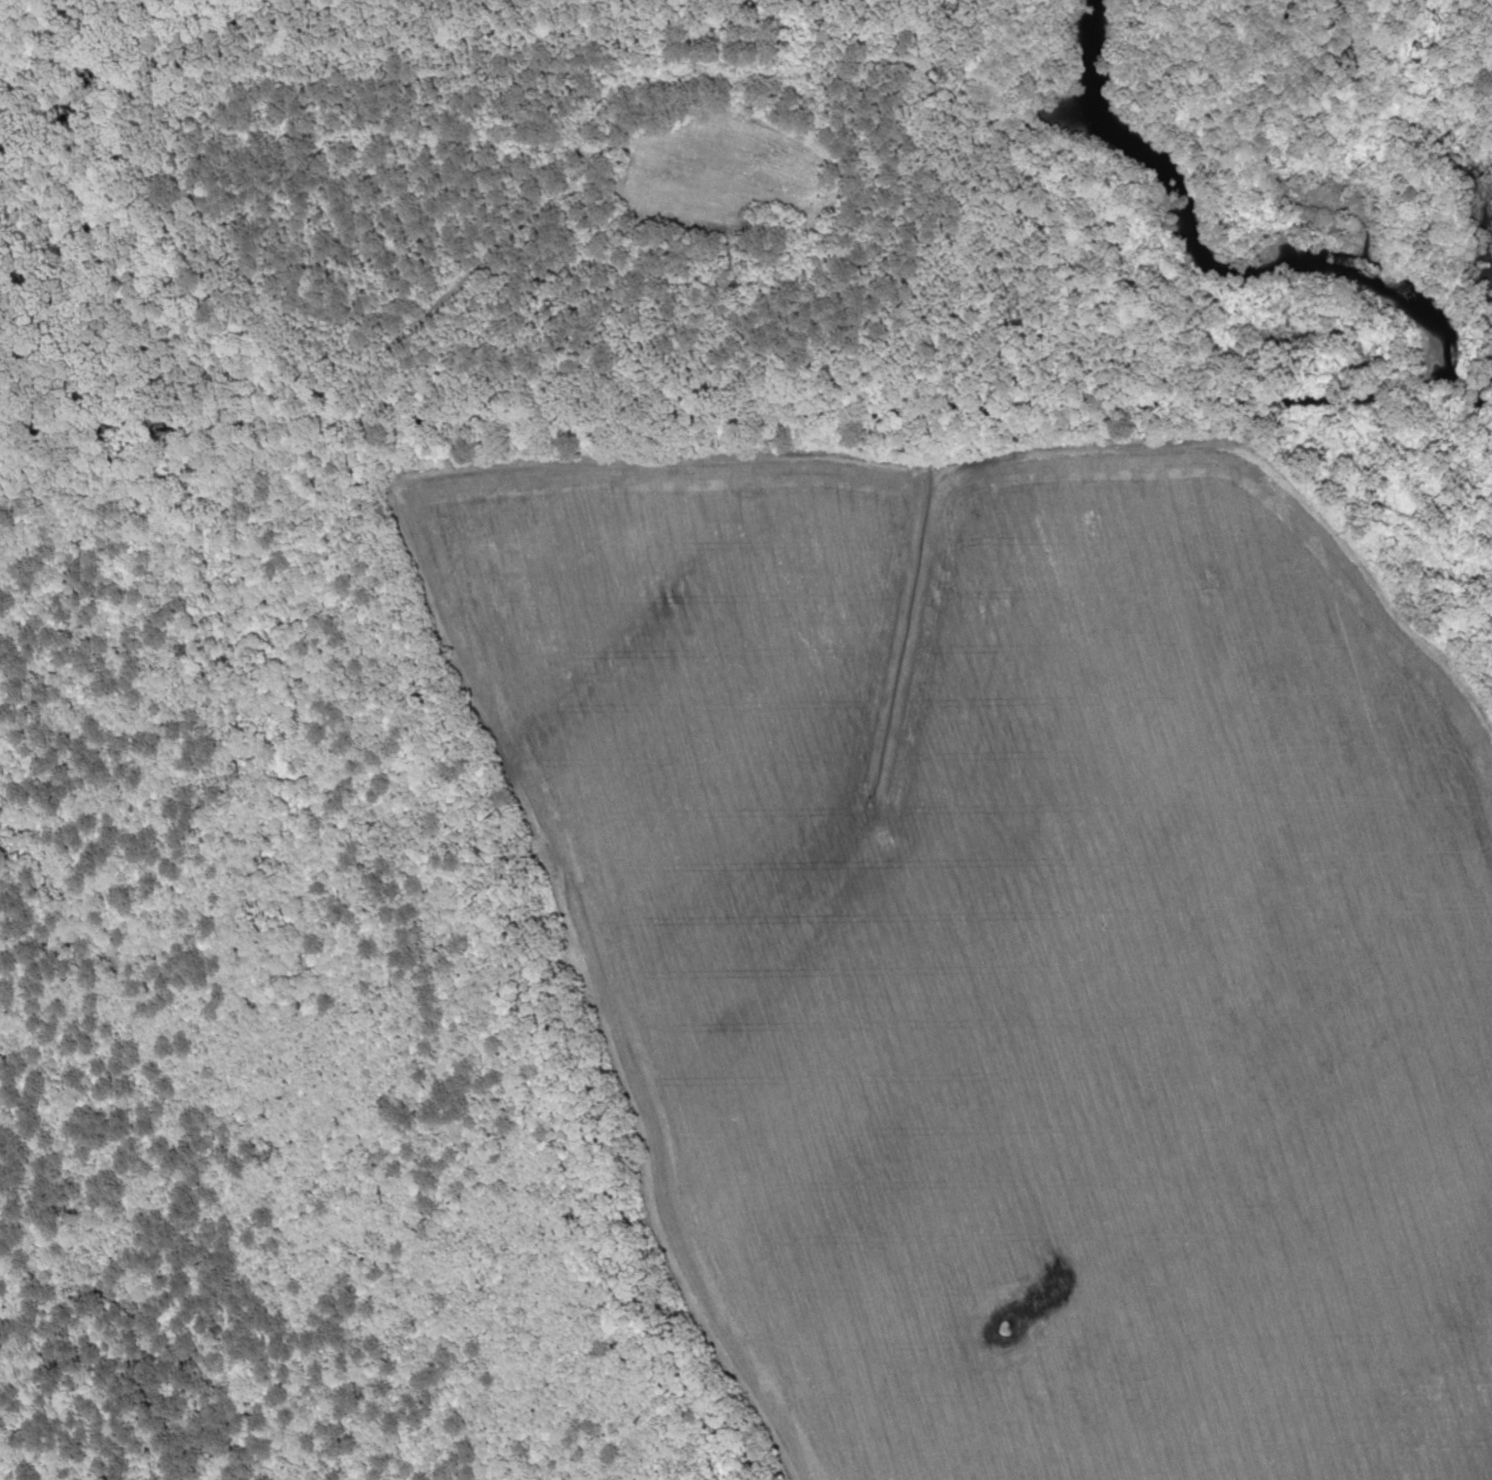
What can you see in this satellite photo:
crop: (1034, 938)

